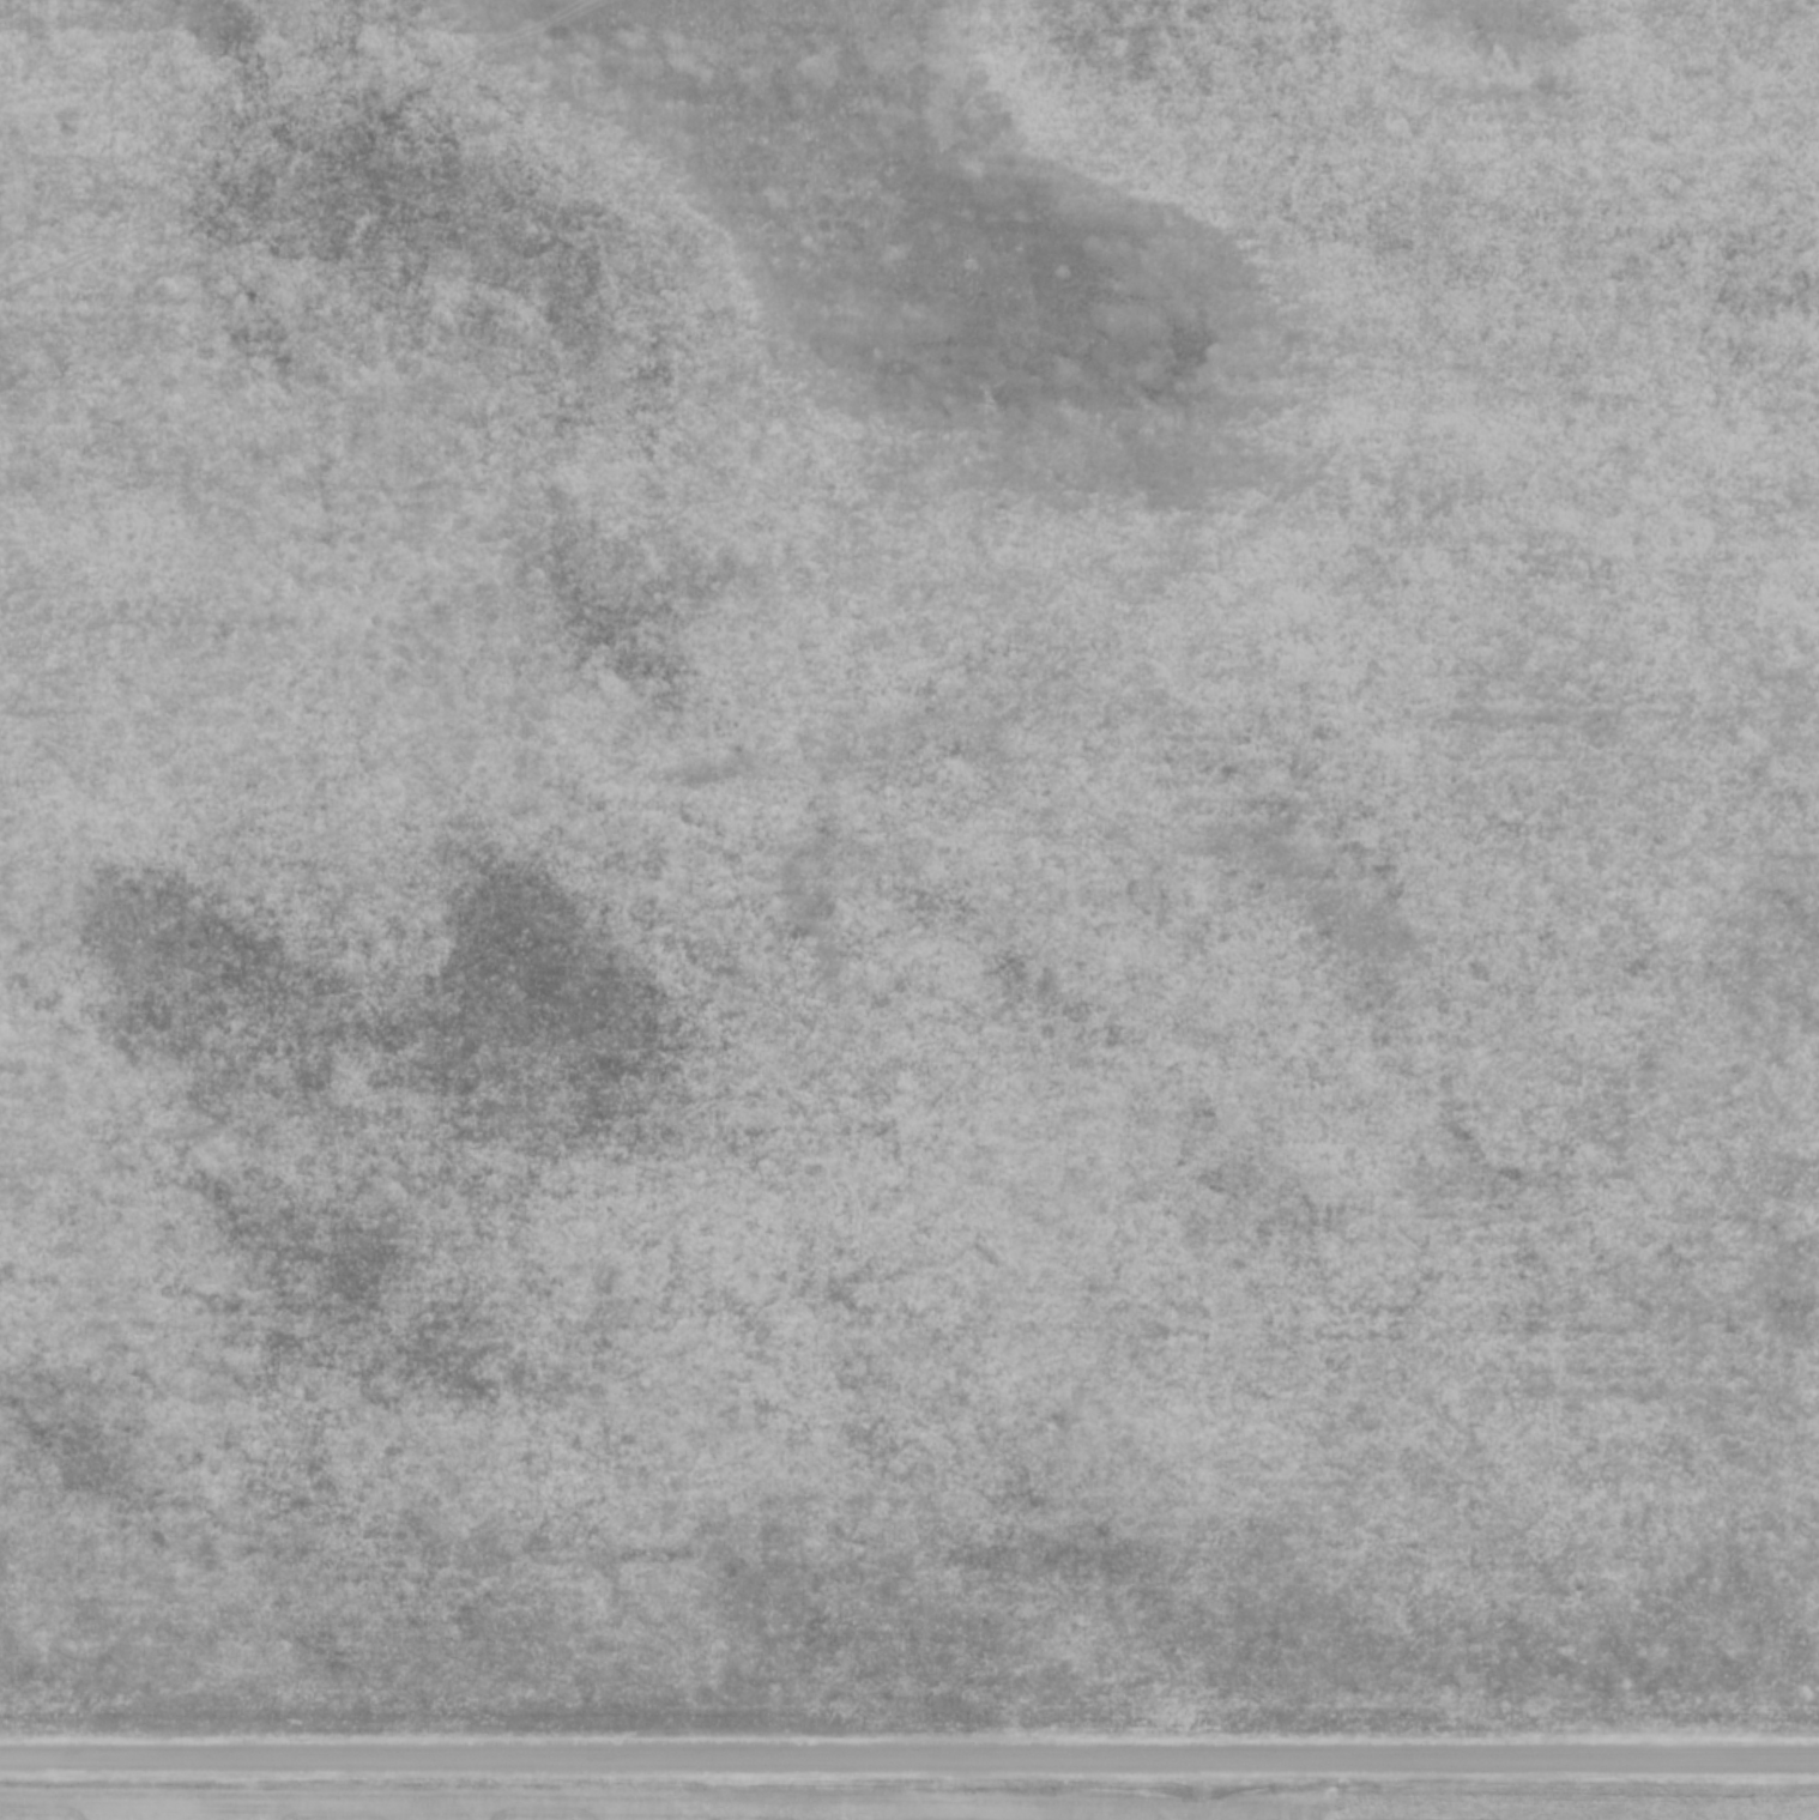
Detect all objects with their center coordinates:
road: (908, 1760)

